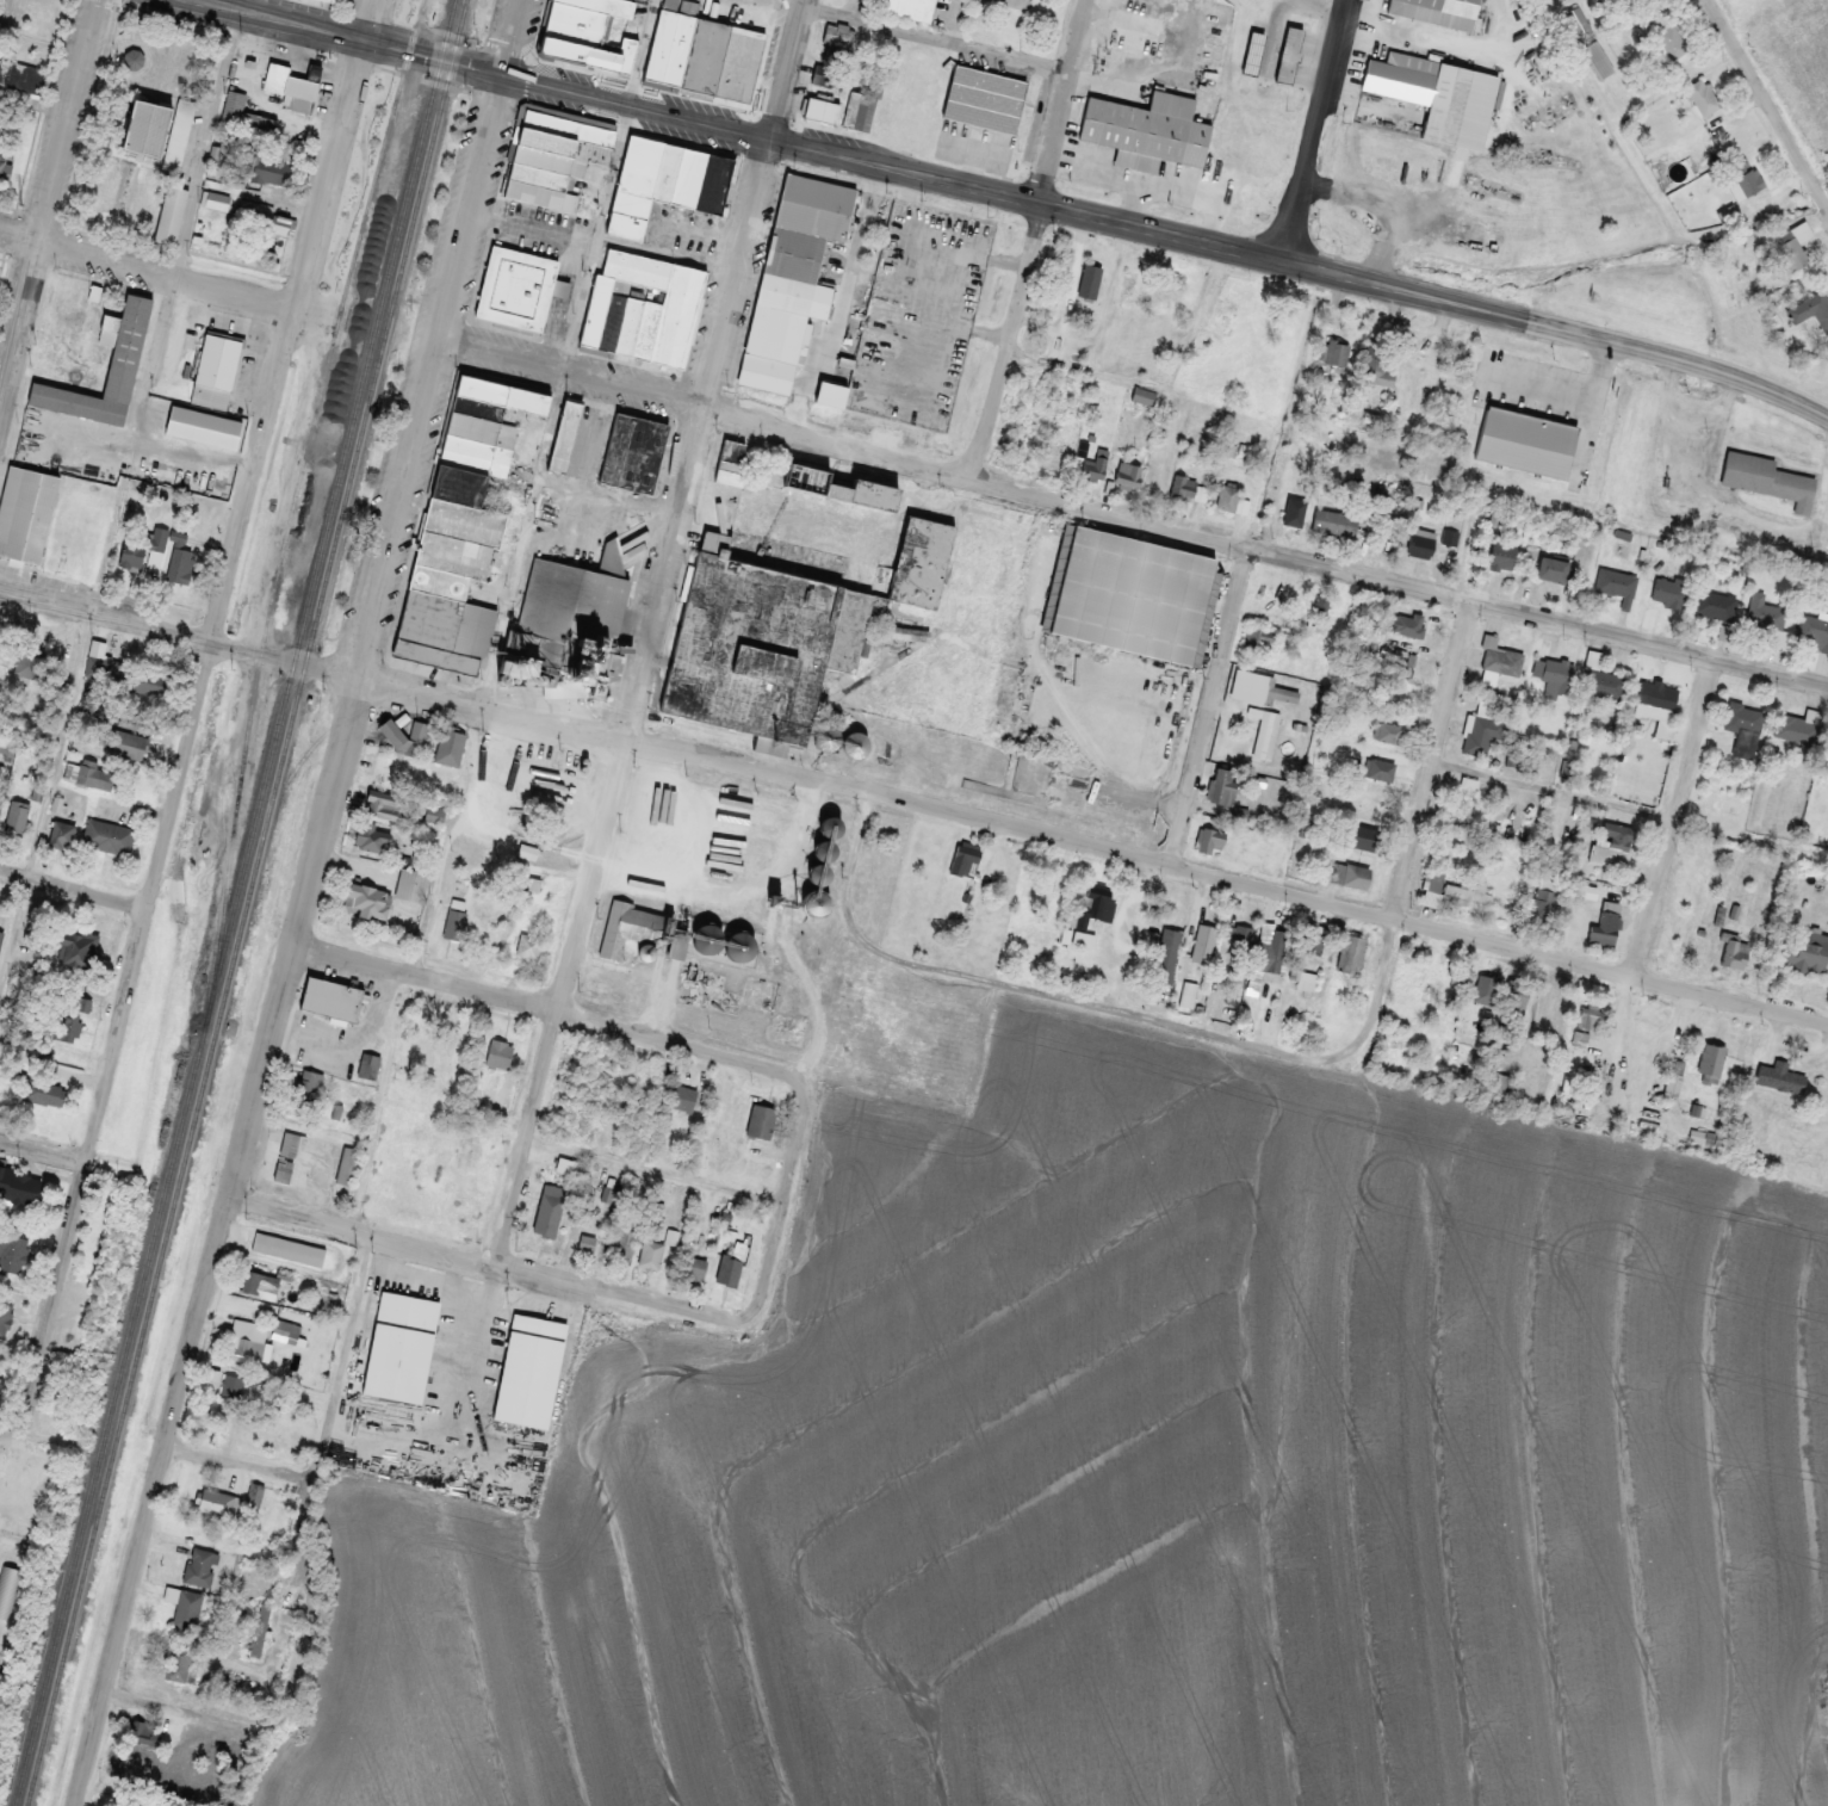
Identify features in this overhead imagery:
parking lot: (353, 0)
building: (339, 1)
road: (244, 2)
parking lot: (379, 5)
building: (910, 8)
building: (1440, 11)
parking lot: (404, 12)
building: (1579, 21)
building: (1158, 26)
building: (590, 35)
road: (928, 35)
road: (364, 36)
building: (1671, 37)
building: (837, 41)
crop: (1802, 47)
road: (640, 49)
building: (1253, 52)
building: (700, 54)
building: (1288, 54)
building: (1600, 60)
building: (828, 75)
building: (21, 76)
building: (292, 86)
building: (1424, 91)
road: (1764, 94)
building: (1704, 97)
building: (983, 99)
road: (36, 101)
building: (820, 109)
road: (70, 120)
building: (255, 124)
building: (1151, 128)
building: (138, 129)
road: (1315, 129)
building: (180, 134)
road: (333, 151)
building: (553, 155)
road: (372, 156)
road: (893, 166)
road: (477, 169)
building: (272, 171)
building: (1743, 178)
parking lot: (346, 180)
building: (664, 181)
road: (1822, 197)
building: (217, 200)
power tower: (25, 204)
road: (756, 204)
building: (265, 218)
road: (1033, 239)
building: (1793, 248)
road: (165, 272)
building: (792, 277)
building: (1091, 282)
building: (515, 286)
building: (1128, 292)
building: (1165, 296)
building: (1053, 298)
building: (67, 304)
building: (643, 307)
building: (1814, 310)
building: (1223, 311)
road: (20, 323)
road: (1560, 326)
building: (1334, 352)
road: (564, 358)
building: (122, 363)
building: (1372, 364)
building: (216, 367)
road: (1096, 371)
building: (1144, 396)
building: (563, 434)
building: (1525, 440)
building: (633, 452)
building: (727, 462)
building: (1096, 468)
building: (1127, 474)
building: (1768, 480)
building: (837, 487)
building: (1183, 487)
building: (1229, 499)
road: (120, 505)
railway: (297, 508)
building: (24, 512)
building: (1293, 513)
road: (1129, 515)
building: (1336, 524)
building: (459, 525)
building: (1452, 537)
building: (1420, 542)
building: (144, 545)
building: (1502, 553)
building: (180, 564)
building: (1550, 568)
building: (1617, 585)
building: (1668, 590)
building: (1134, 594)
building: (785, 605)
building: (1716, 605)
building: (1766, 613)
building: (575, 618)
road: (147, 624)
building: (1421, 627)
building: (1814, 630)
building: (0, 633)
building: (32, 658)
building: (1504, 658)
building: (1557, 674)
building: (1605, 682)
building: (1283, 693)
building: (1656, 695)
road: (1213, 705)
railway: (678, 720)
building: (1797, 726)
building: (1745, 728)
building: (1388, 732)
building: (1485, 732)
building: (1269, 735)
building: (122, 742)
building: (448, 747)
road: (1433, 756)
road: (329, 767)
building: (1380, 769)
building: (1029, 772)
building: (1223, 785)
road: (1554, 790)
building: (1466, 802)
building: (0, 804)
building: (380, 808)
road: (1674, 816)
building: (14, 818)
building: (61, 834)
building: (107, 836)
road: (605, 836)
building: (372, 837)
road: (1061, 837)
building: (1359, 837)
building: (1212, 841)
building: (1613, 845)
building: (1347, 874)
building: (414, 885)
building: (1460, 887)
road: (75, 889)
building: (1587, 891)
building: (366, 899)
road: (154, 901)
railway: (235, 902)
railway: (246, 902)
building: (1543, 905)
building: (1090, 916)
building: (1607, 922)
building: (631, 928)
building: (0, 935)
building: (1239, 939)
building: (723, 941)
building: (1203, 942)
building: (1313, 942)
building: (74, 948)
building: (1278, 950)
building: (1805, 951)
building: (1351, 953)
building: (1734, 953)
building: (1167, 954)
road: (419, 966)
building: (1513, 995)
building: (331, 998)
road: (543, 1004)
road: (1103, 1006)
building: (1590, 1021)
building: (64, 1026)
building: (32, 1041)
road: (1621, 1046)
building: (498, 1053)
building: (1709, 1062)
building: (1779, 1076)
building: (306, 1088)
building: (42, 1090)
building: (683, 1097)
building: (761, 1121)
building: (1706, 1137)
building: (467, 1149)
road: (45, 1152)
building: (287, 1156)
building: (347, 1164)
road: (657, 1169)
building: (20, 1187)
road: (785, 1200)
building: (549, 1212)
building: (622, 1242)
building: (589, 1243)
building: (290, 1248)
building: (11, 1253)
building: (651, 1254)
road: (483, 1260)
building: (695, 1267)
building: (729, 1270)
building: (260, 1282)
building: (4, 1311)
building: (287, 1330)
building: (249, 1341)
building: (398, 1346)
road: (343, 1356)
building: (527, 1369)
building: (234, 1385)
road: (13, 1439)
road: (235, 1458)
crop: (1154, 1479)
road: (149, 1501)
building: (218, 1502)
building: (200, 1566)
building: (8, 1596)
road: (308, 1604)
building: (186, 1607)
building: (179, 1652)
road: (186, 1711)
building: (148, 1734)

